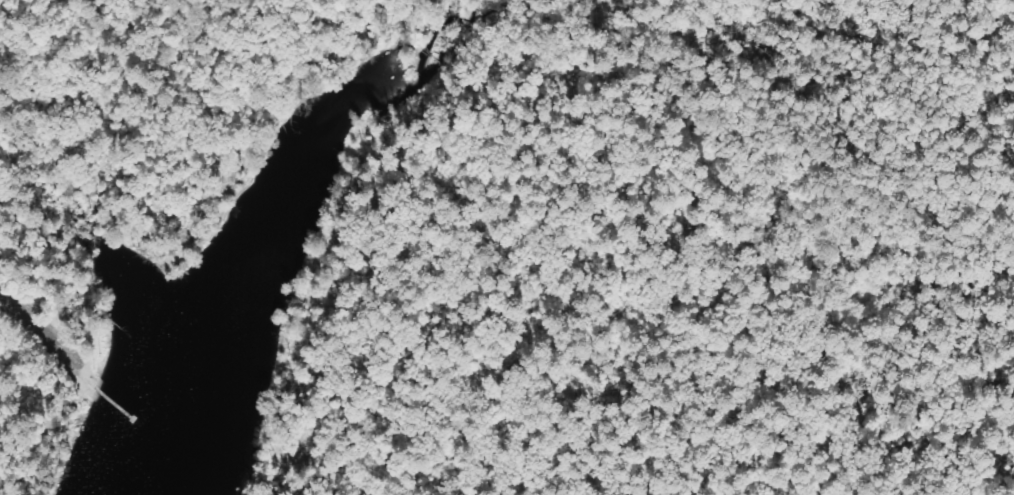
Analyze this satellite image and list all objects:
road: (47, 340)
pier: (112, 403)

